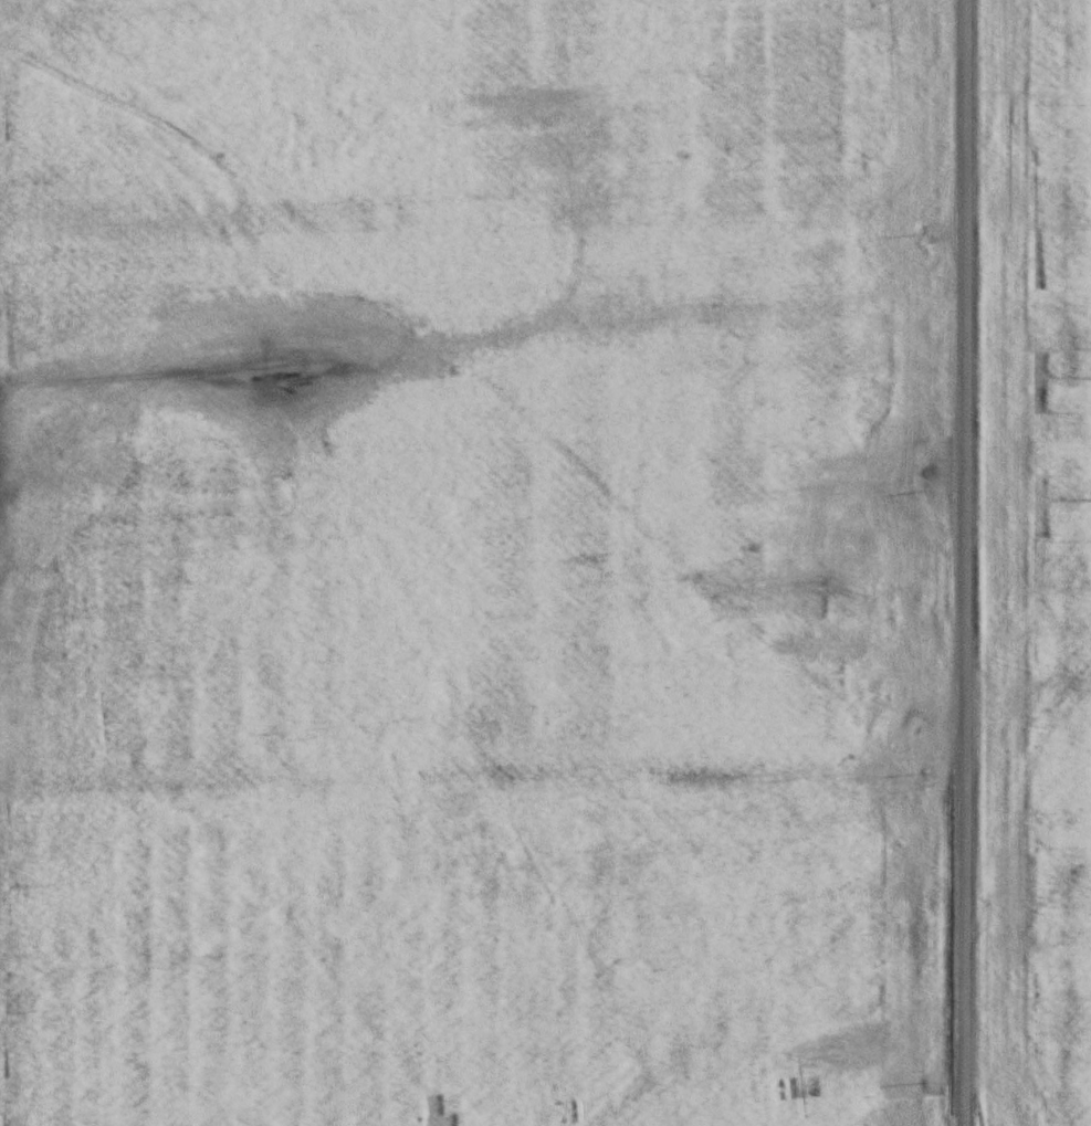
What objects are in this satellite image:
road: (966, 562)

